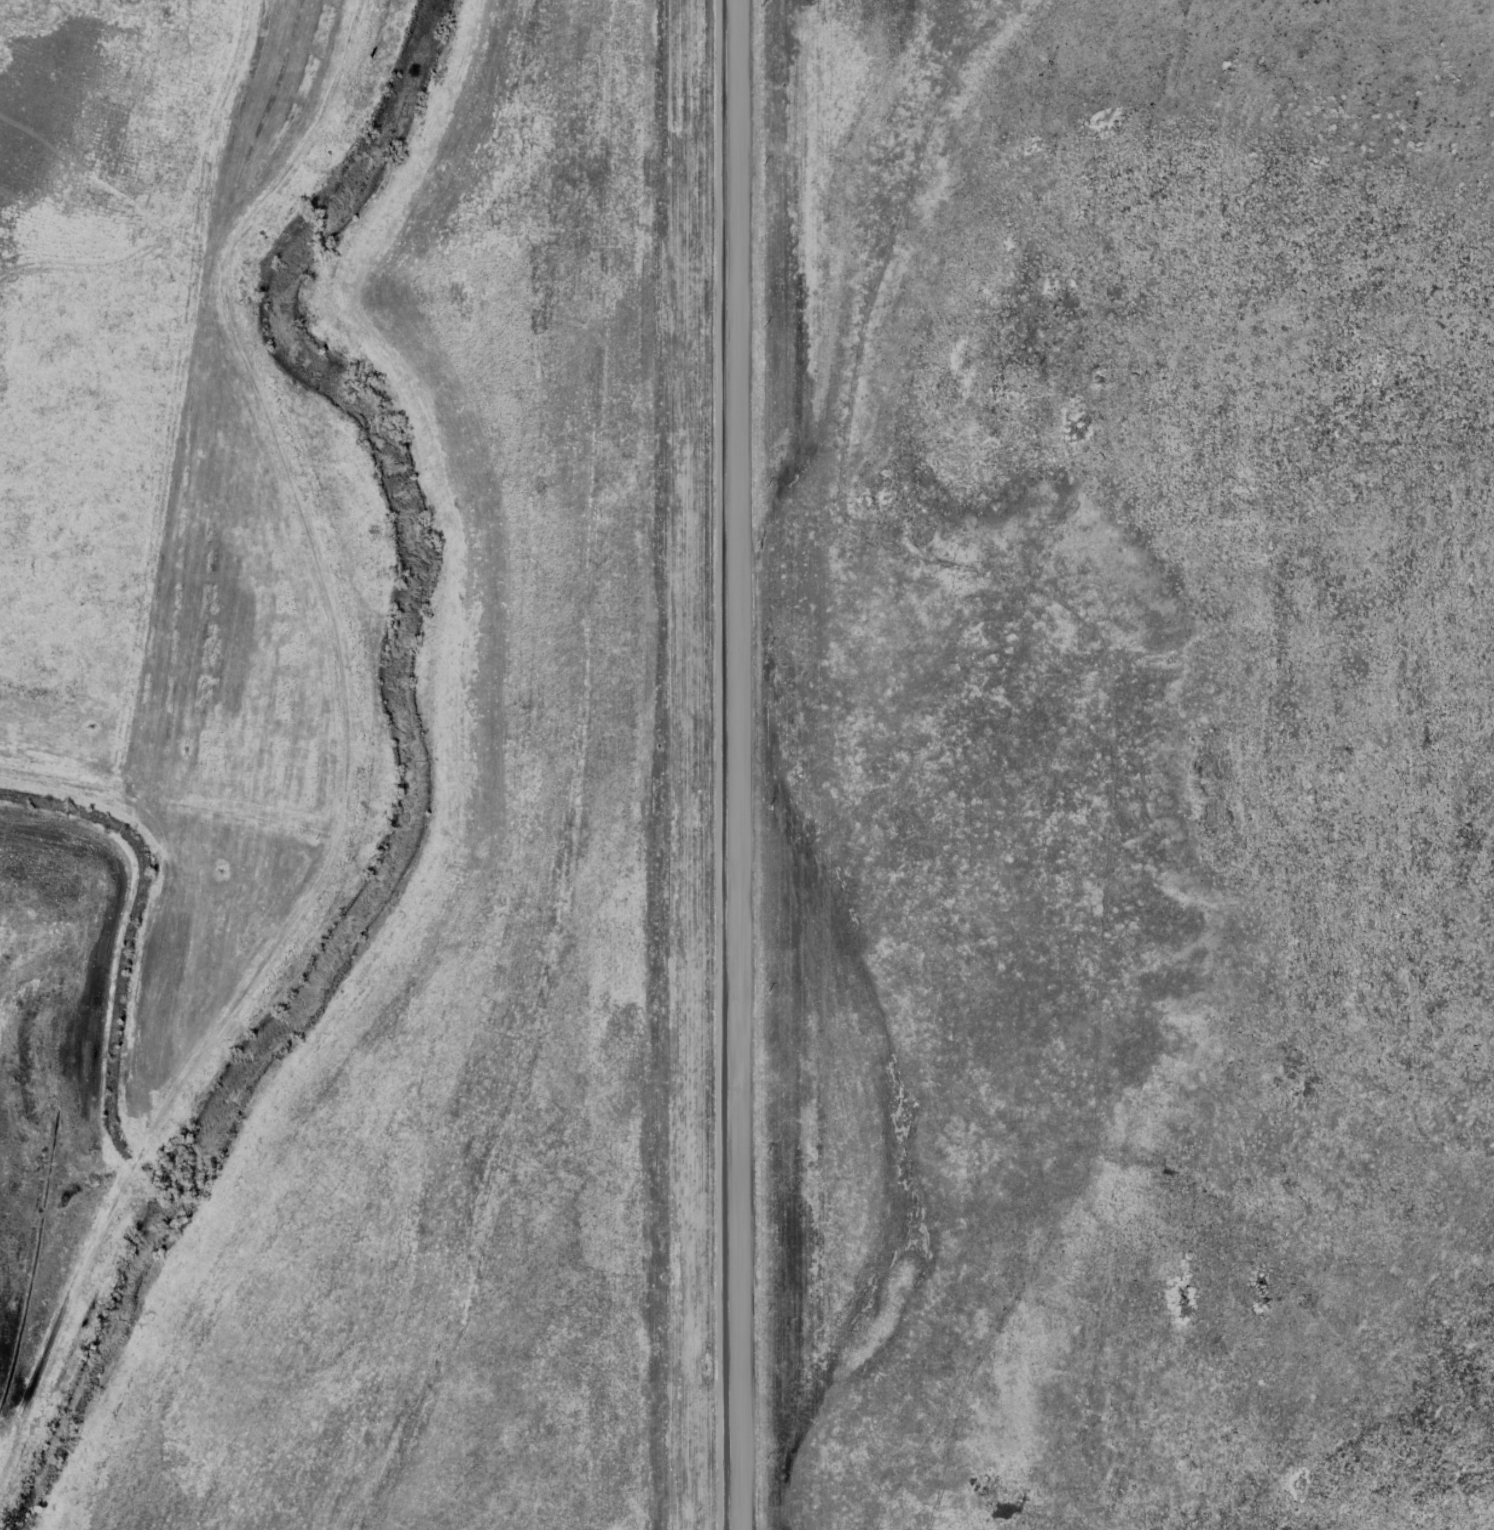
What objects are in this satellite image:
road: (739, 765)

